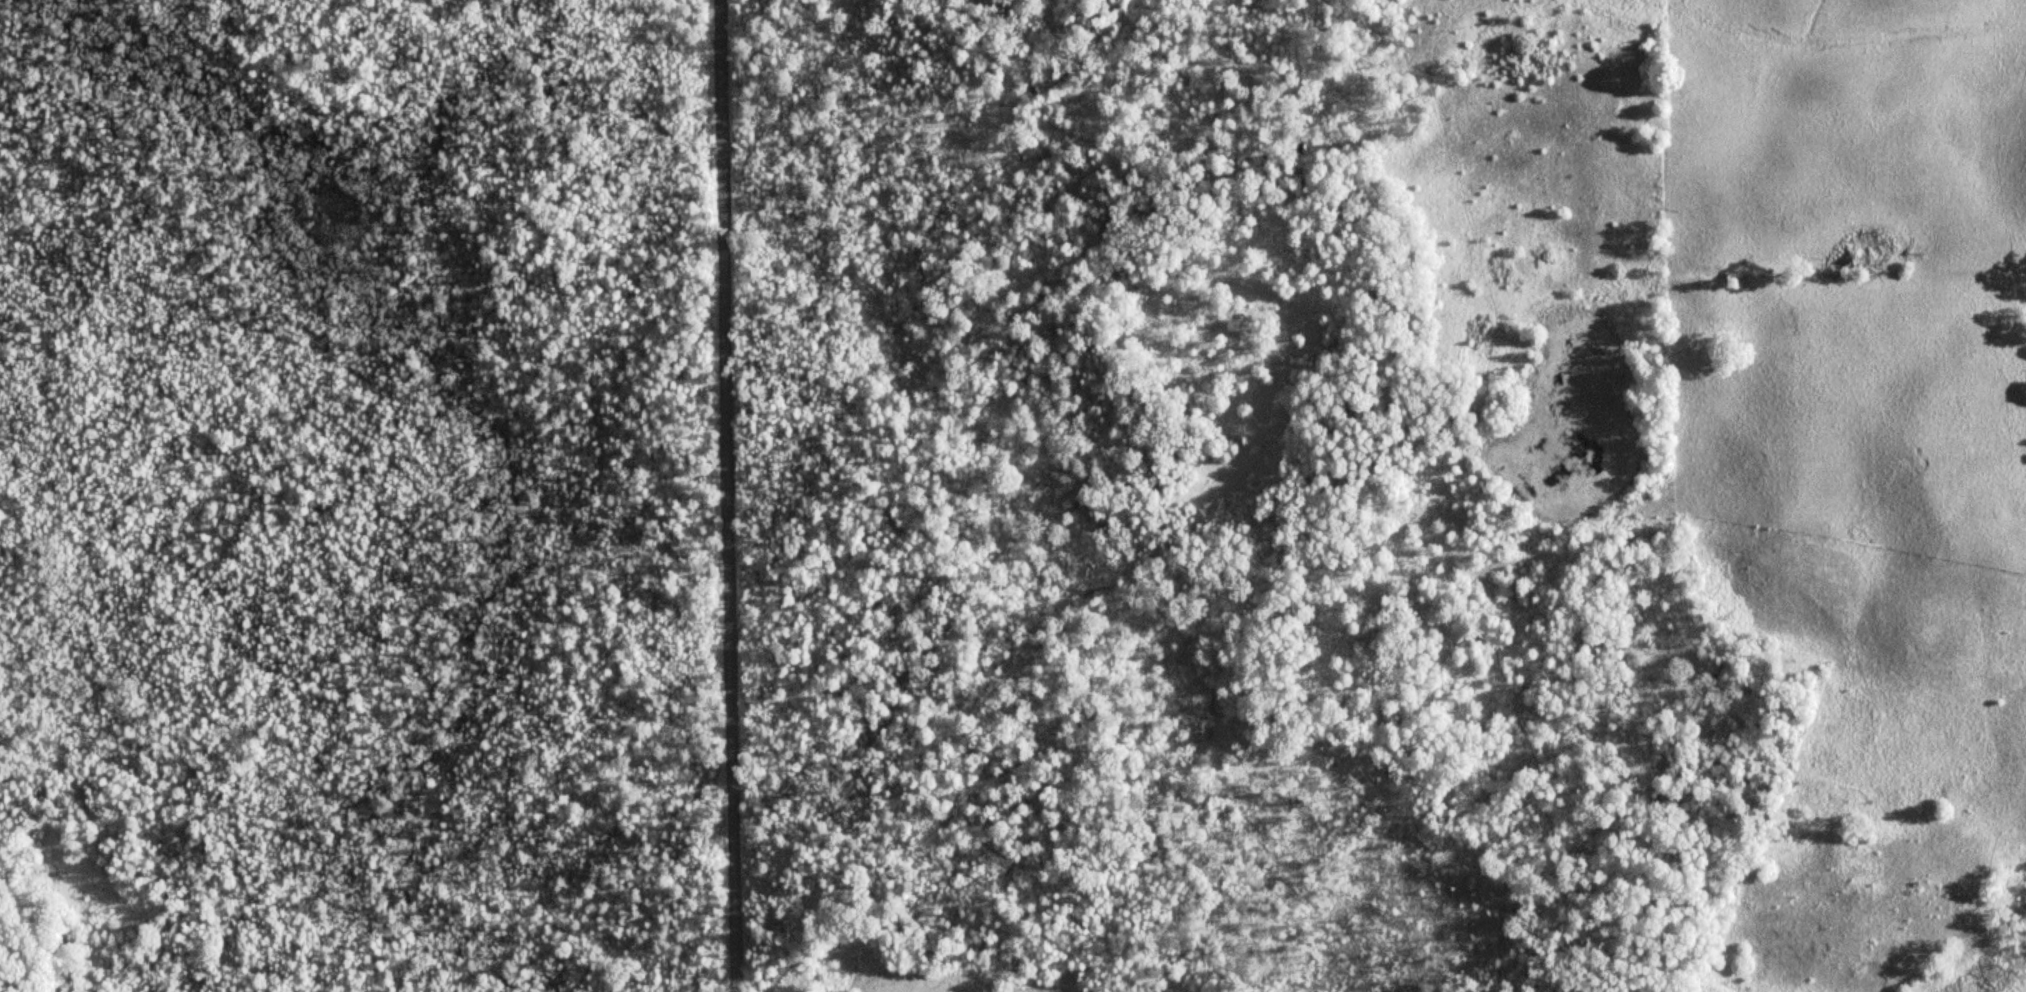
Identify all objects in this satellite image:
road: (727, 496)

